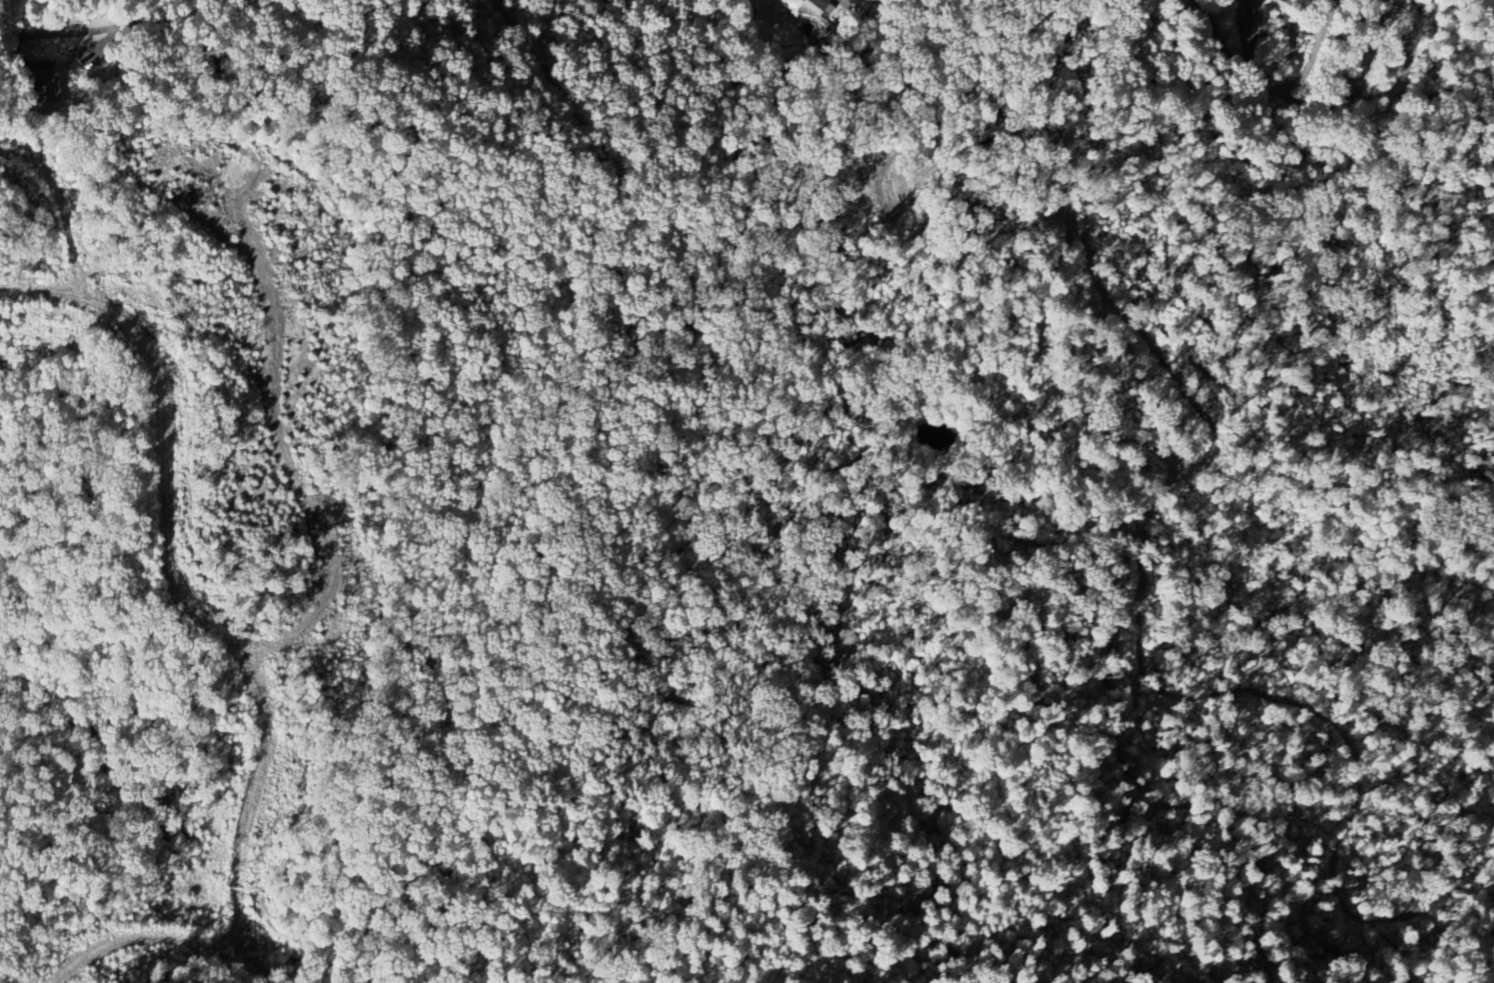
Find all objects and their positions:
road: (1488, 11)
road: (150, 22)
road: (1263, 89)
road: (279, 442)
road: (168, 571)
road: (135, 938)

